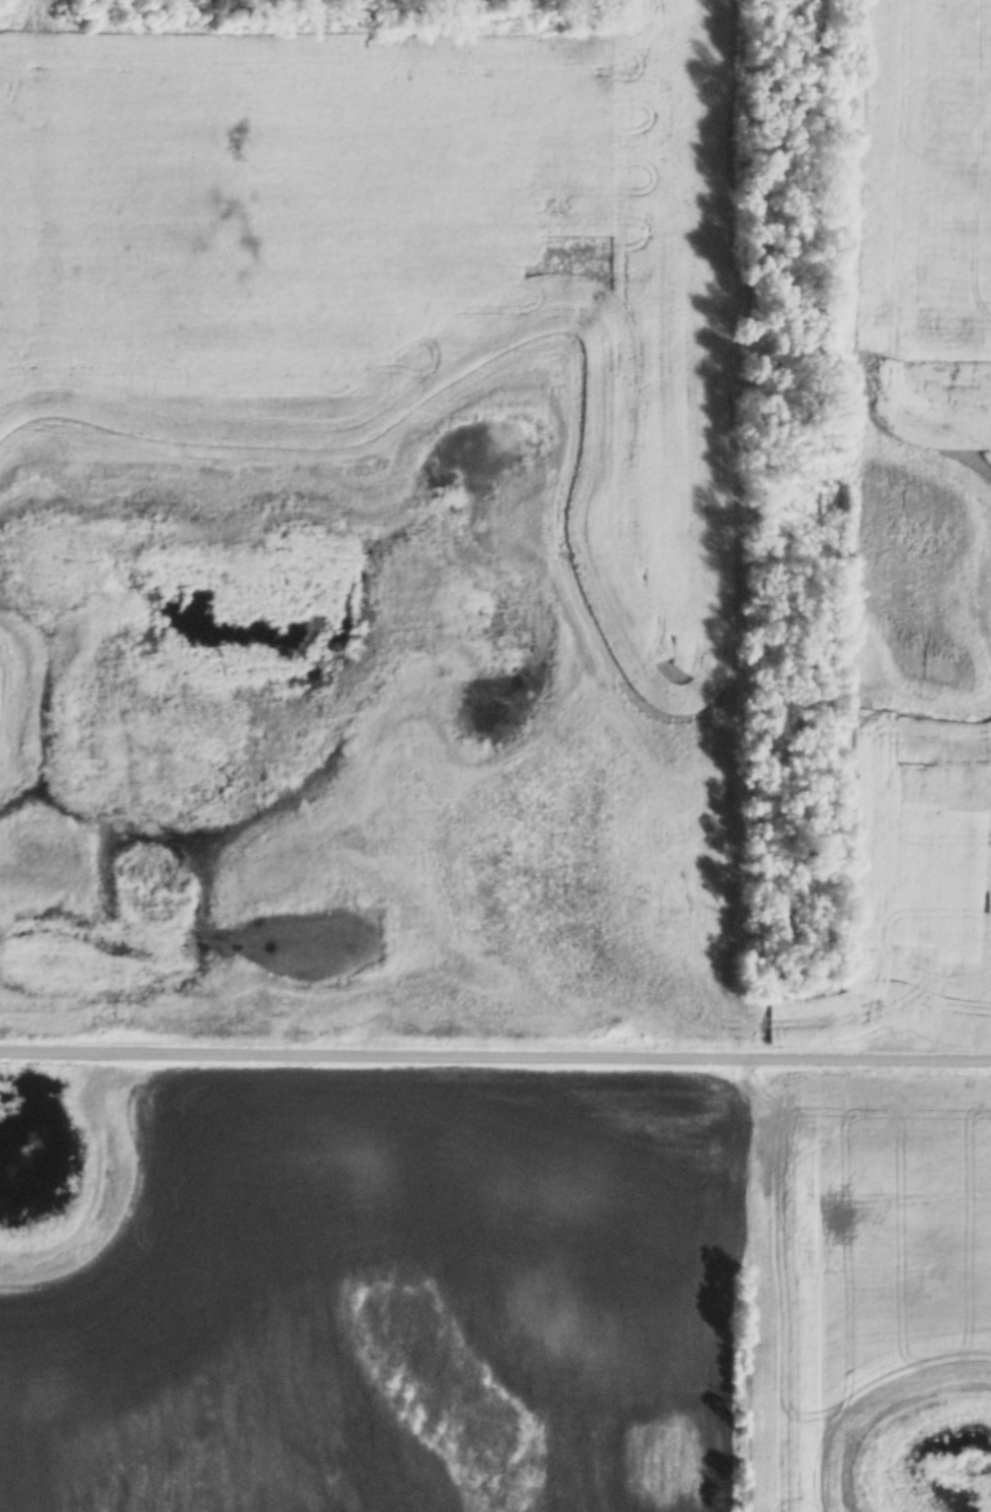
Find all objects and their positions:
road: (495, 1060)

